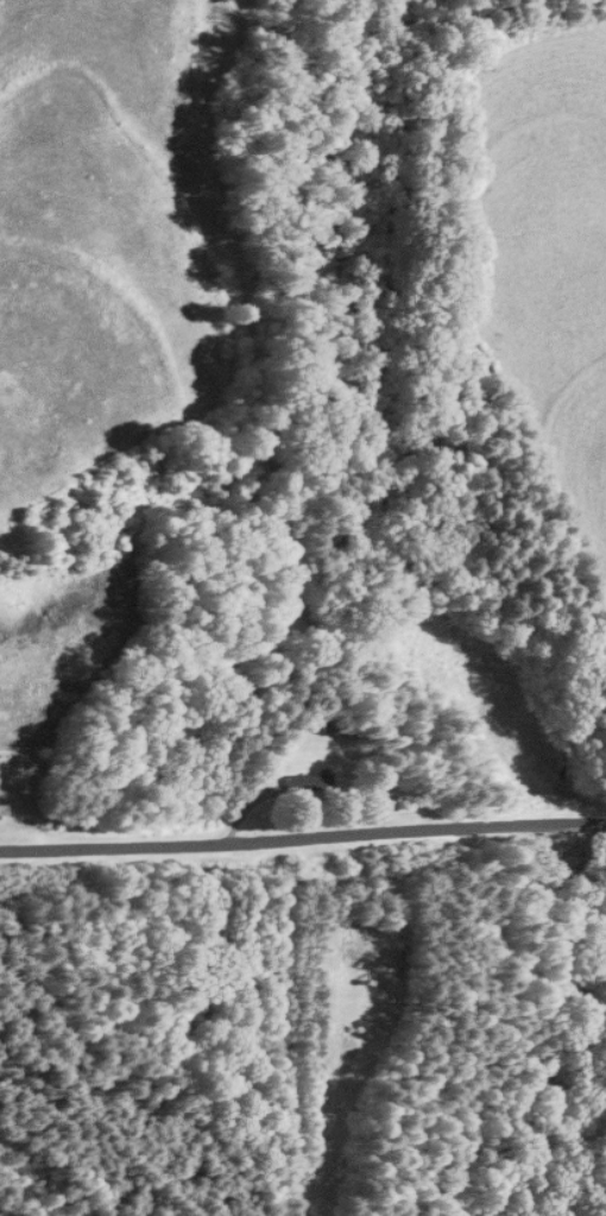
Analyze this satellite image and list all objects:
building: (303, 785)
building: (1, 811)
road: (302, 836)

